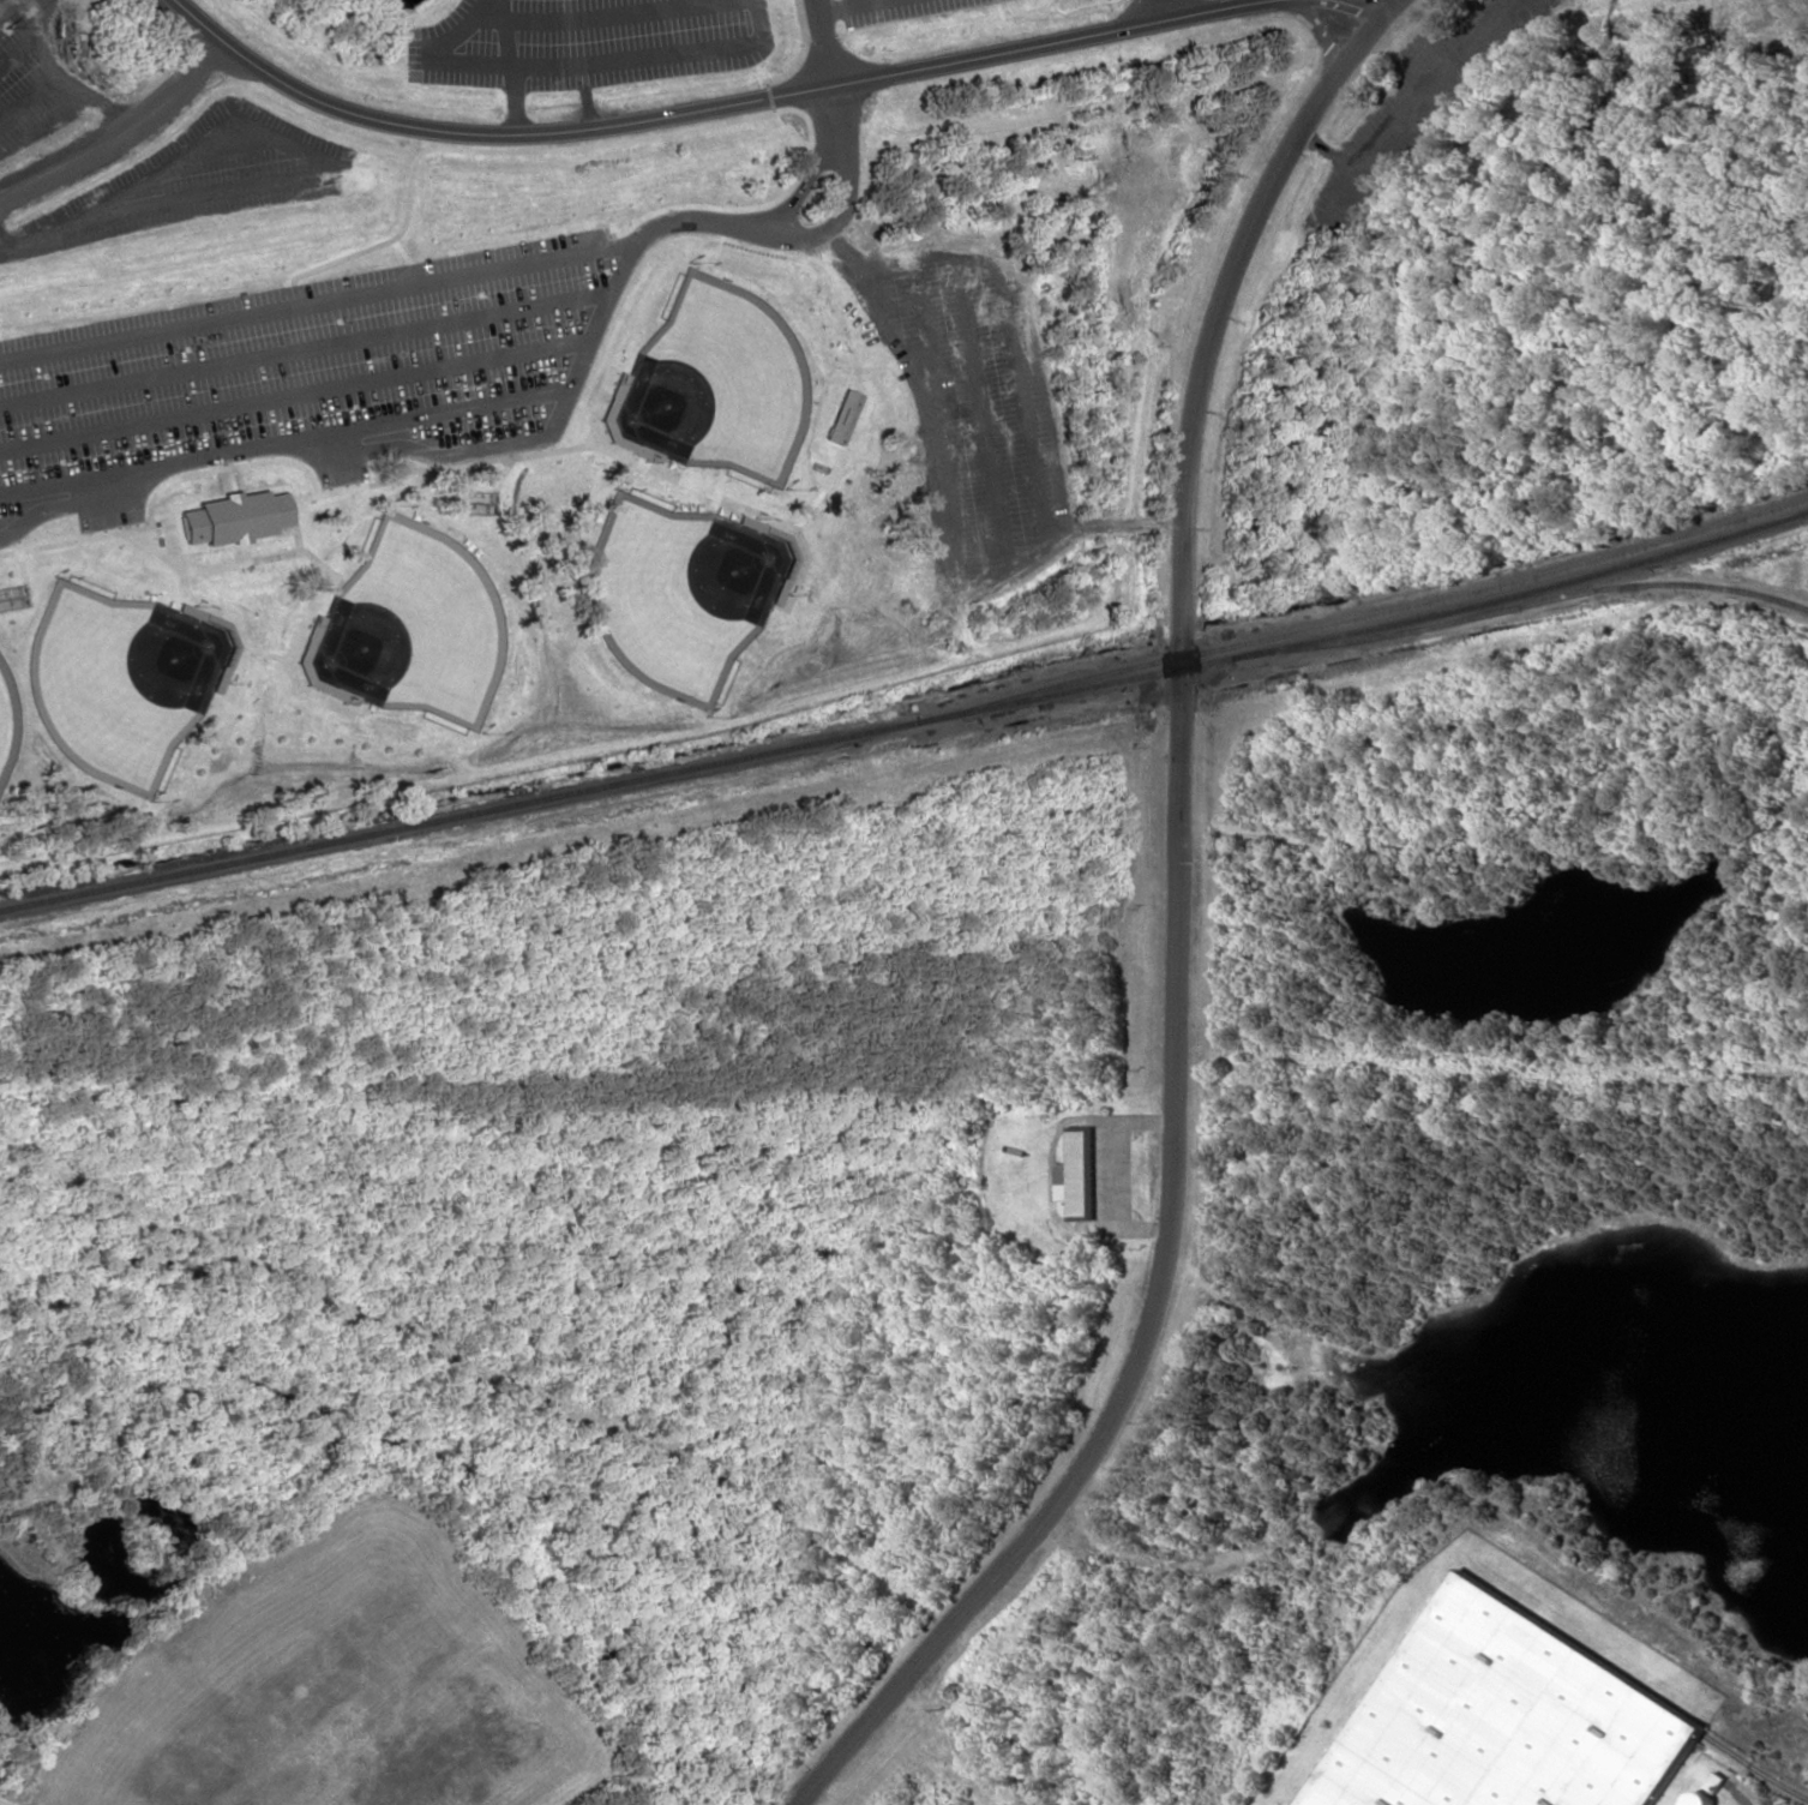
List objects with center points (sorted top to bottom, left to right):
road: (1362, 7)
parking lot: (888, 10)
power tower: (6, 25)
parking lot: (583, 41)
parking lot: (32, 79)
road: (711, 104)
parking lot: (1417, 104)
parking lot: (186, 179)
parking lot: (304, 376)
park: (716, 380)
building: (841, 415)
parking lot: (977, 415)
building: (234, 516)
park: (679, 592)
railway: (1545, 600)
railway: (1398, 608)
park: (412, 624)
railway: (1382, 626)
park: (118, 679)
park: (7, 718)
railway: (474, 810)
road: (1178, 936)
building: (1077, 1171)
railway: (1640, 1696)
building: (1503, 1719)

